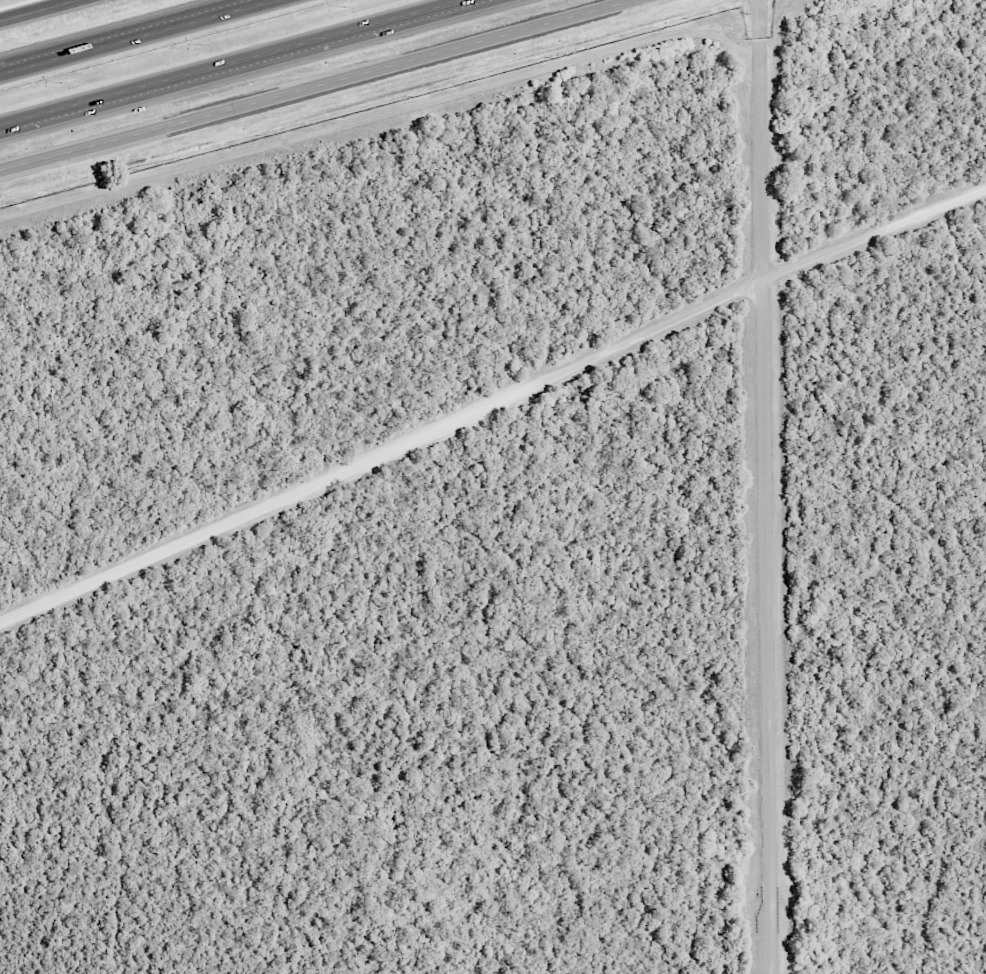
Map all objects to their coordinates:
road: (41, 11)
road: (143, 38)
road: (231, 62)
road: (319, 85)
road: (409, 110)
road: (491, 406)
road: (766, 505)

